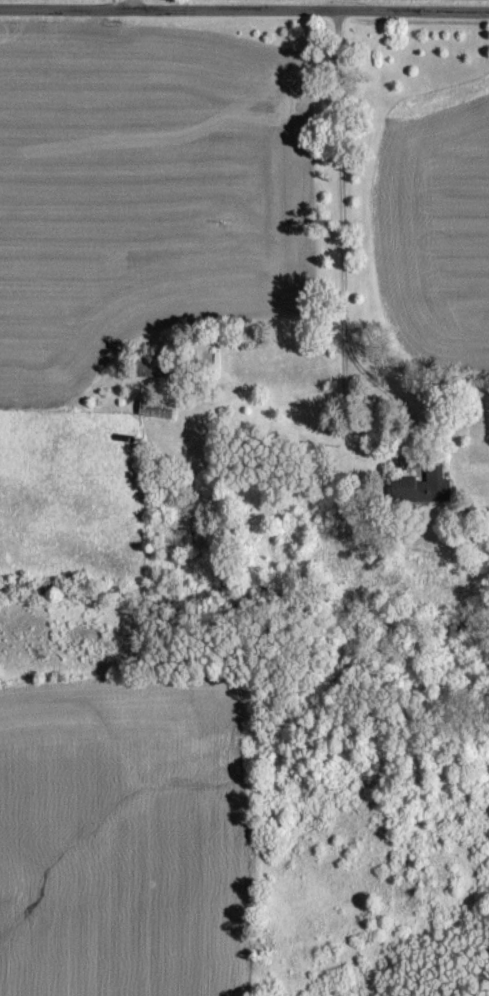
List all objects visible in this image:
road: (135, 2)
road: (244, 5)
road: (351, 230)
building: (421, 487)

